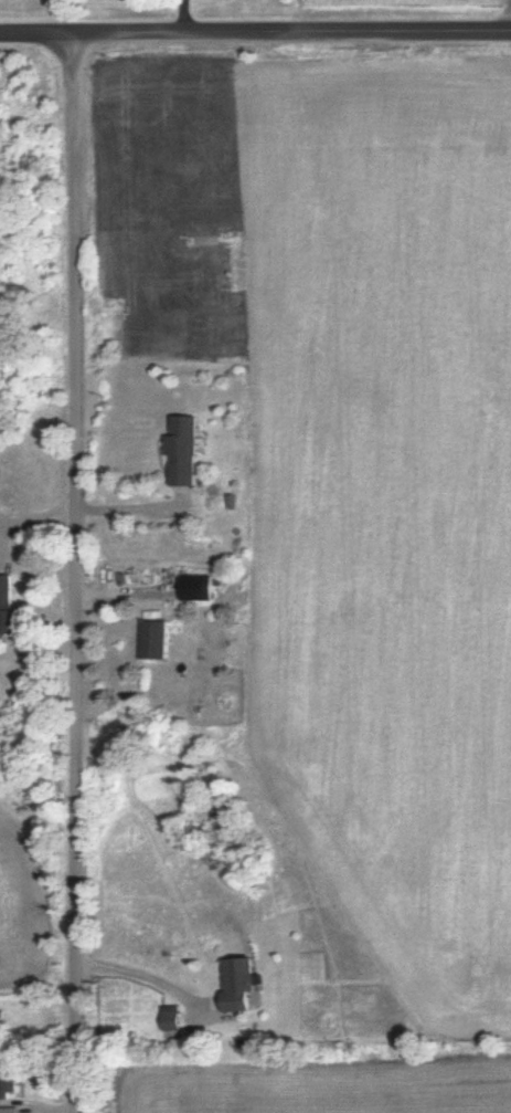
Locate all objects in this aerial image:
road: (191, 15)
road: (255, 31)
building: (181, 453)
road: (81, 571)
building: (199, 578)
building: (8, 585)
building: (158, 630)
road: (152, 976)
building: (238, 976)
building: (171, 1008)
building: (9, 1111)

